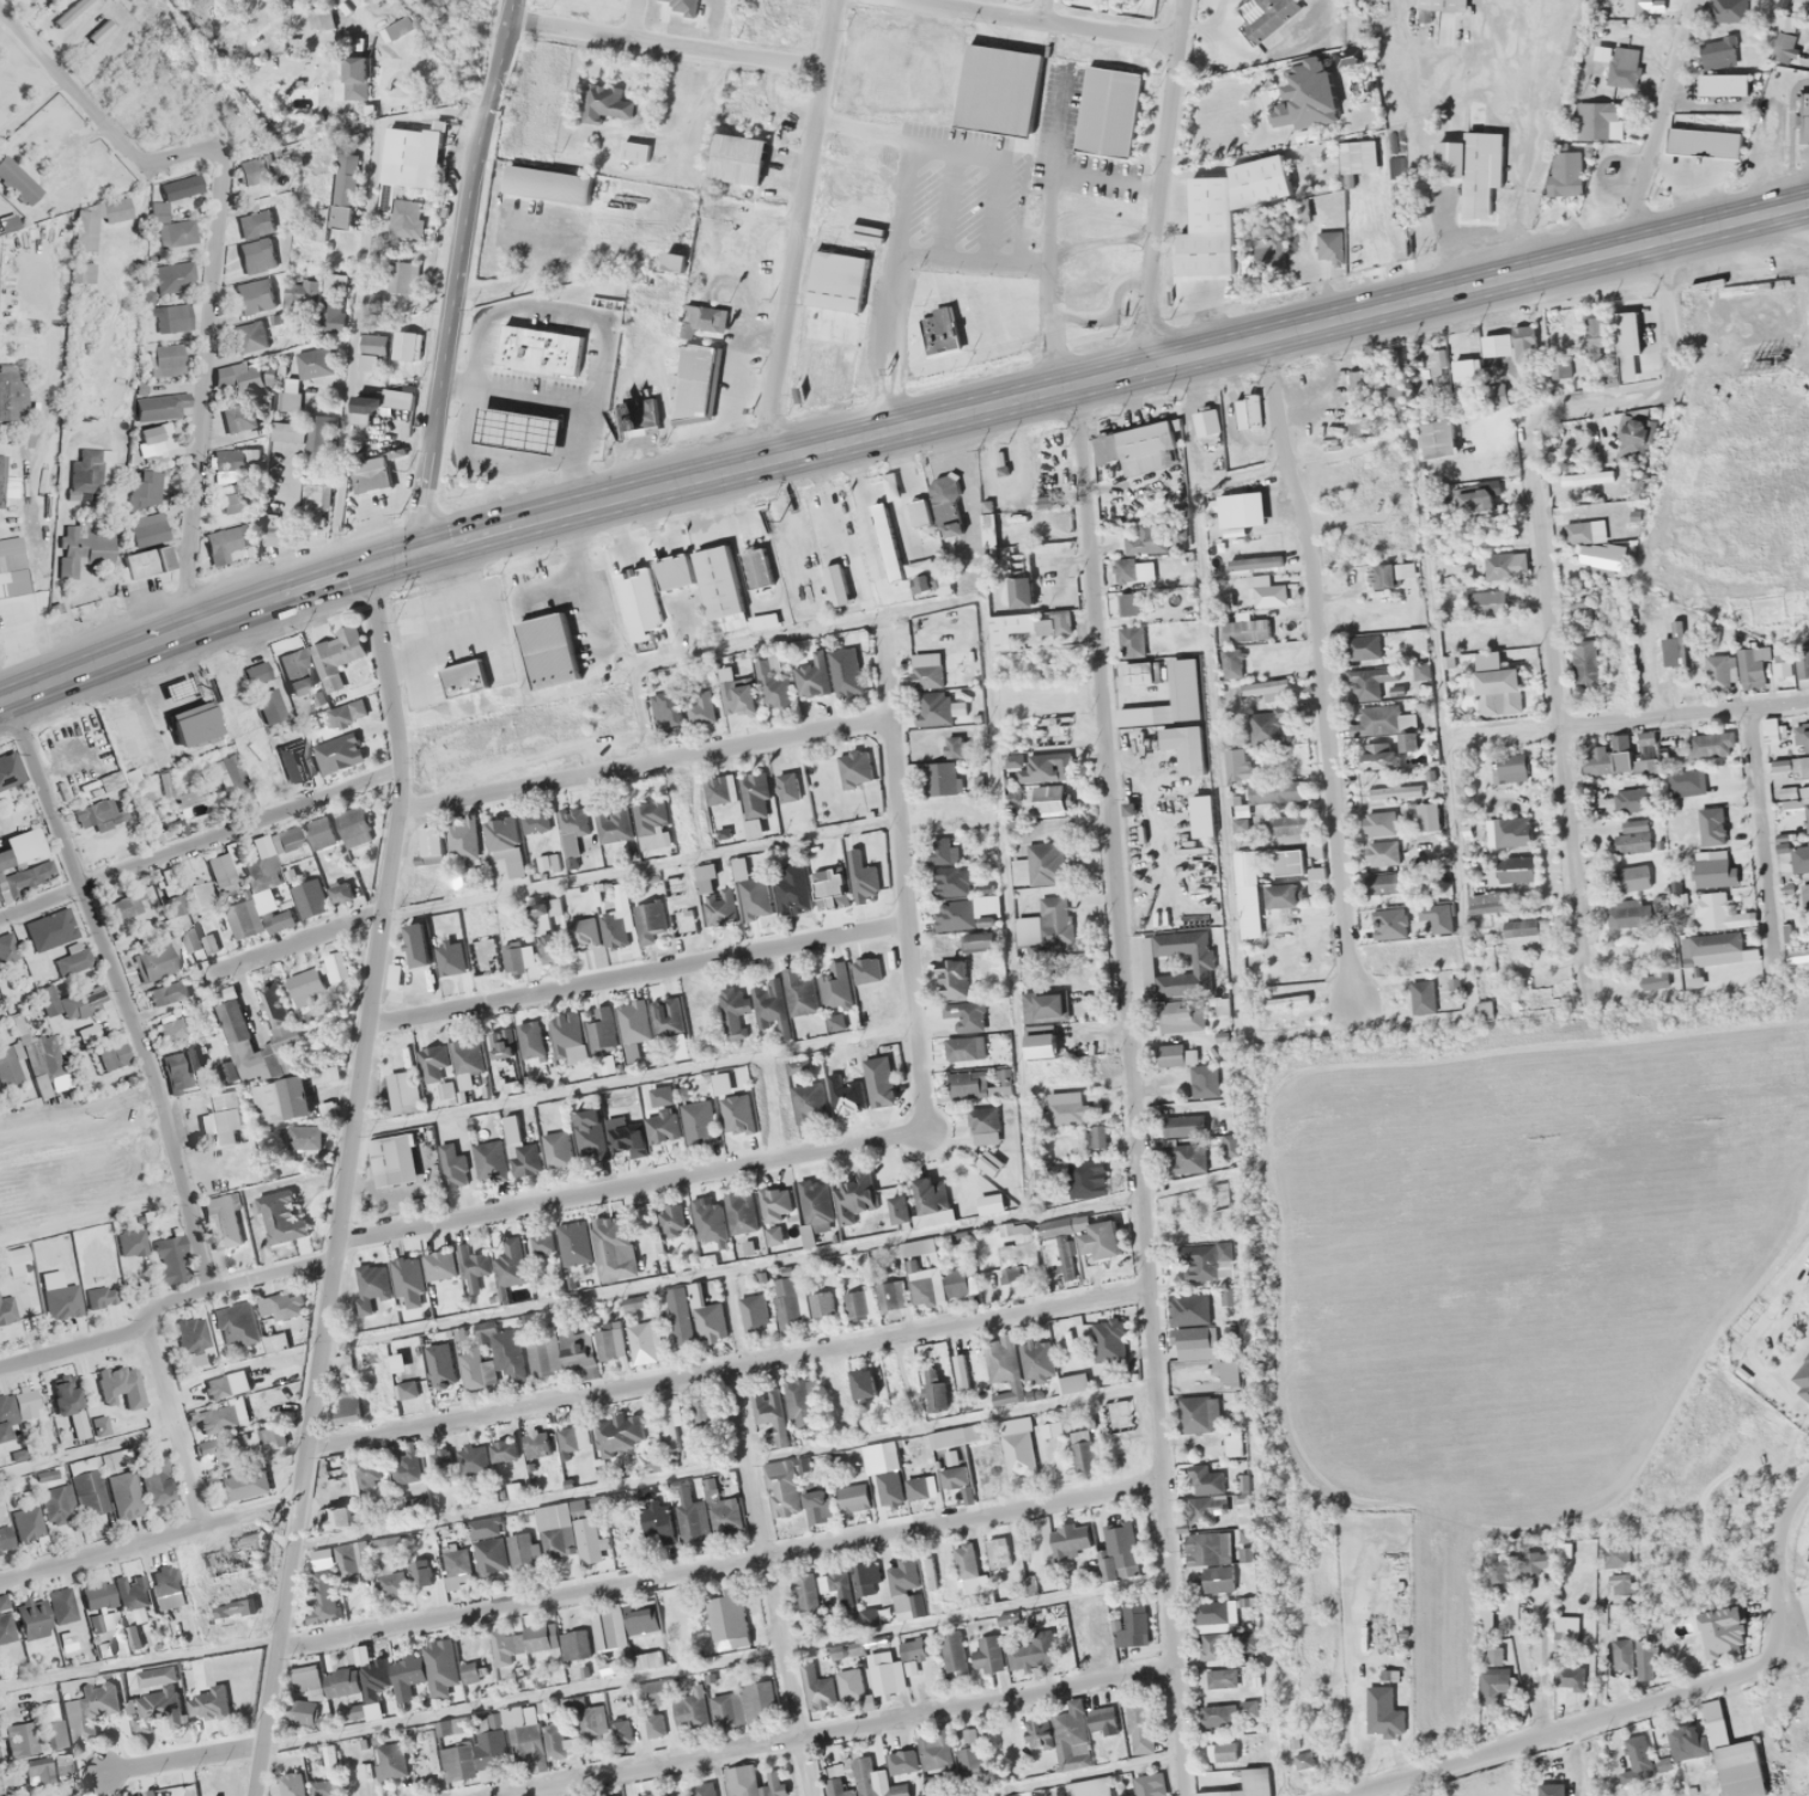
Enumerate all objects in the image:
building: (678, 5)
building: (1440, 5)
road: (1042, 10)
building: (1253, 10)
building: (1726, 11)
building: (319, 16)
road: (635, 18)
road: (1050, 20)
road: (665, 42)
building: (1601, 53)
building: (1722, 84)
building: (340, 90)
building: (998, 90)
building: (604, 104)
building: (1107, 112)
building: (1278, 114)
building: (1, 116)
building: (1597, 120)
road: (1658, 121)
building: (736, 158)
building: (1566, 165)
building: (254, 169)
building: (1472, 169)
building: (546, 184)
road: (1163, 185)
building: (178, 187)
building: (341, 191)
building: (1297, 209)
building: (1211, 215)
building: (93, 220)
building: (255, 224)
building: (175, 232)
road: (799, 232)
building: (1328, 244)
road: (215, 246)
building: (254, 249)
building: (81, 272)
building: (171, 276)
building: (402, 276)
road: (464, 276)
building: (836, 280)
building: (254, 296)
building: (373, 300)
building: (170, 317)
building: (936, 330)
building: (1613, 342)
building: (373, 345)
building: (406, 345)
road: (355, 352)
building: (313, 363)
building: (1389, 377)
building: (220, 378)
building: (694, 382)
building: (287, 398)
building: (160, 406)
building: (366, 408)
building: (1245, 412)
building: (238, 416)
building: (641, 416)
building: (1204, 421)
building: (517, 430)
road: (897, 430)
building: (288, 431)
building: (147, 434)
building: (1138, 448)
building: (1634, 458)
building: (229, 465)
building: (370, 474)
building: (89, 475)
building: (1637, 488)
building: (1468, 498)
building: (233, 501)
building: (145, 507)
building: (1239, 511)
building: (918, 512)
building: (1583, 531)
road: (1537, 532)
building: (1146, 538)
building: (885, 541)
building: (71, 548)
traffic signals: (422, 554)
building: (145, 561)
building: (1254, 562)
building: (1504, 565)
building: (11, 567)
building: (756, 567)
traffic signals: (368, 568)
building: (1123, 568)
building: (671, 572)
building: (1385, 574)
building: (1256, 580)
building: (835, 584)
building: (718, 585)
building: (636, 603)
building: (1132, 603)
building: (1485, 603)
building: (1022, 625)
building: (1241, 629)
building: (1129, 641)
building: (1359, 646)
building: (547, 651)
building: (1801, 660)
building: (1780, 662)
building: (317, 663)
building: (1230, 663)
building: (1584, 663)
building: (761, 668)
building: (1682, 668)
building: (1752, 668)
road: (1320, 669)
building: (925, 670)
building: (843, 671)
building: (1135, 672)
building: (1717, 672)
building: (461, 678)
building: (1183, 682)
building: (1369, 682)
building: (1265, 689)
building: (176, 690)
building: (264, 692)
building: (1497, 692)
building: (736, 695)
building: (699, 707)
building: (930, 708)
road: (1683, 712)
building: (1381, 720)
building: (194, 723)
building: (1265, 727)
building: (1050, 730)
building: (1770, 730)
building: (120, 733)
building: (1407, 742)
building: (1710, 744)
building: (952, 747)
building: (1184, 748)
building: (337, 753)
building: (1377, 755)
building: (1608, 757)
building: (296, 760)
road: (645, 760)
building: (1779, 765)
building: (1232, 766)
building: (1801, 766)
building: (1507, 767)
building: (10, 771)
building: (853, 772)
road: (1108, 774)
building: (1022, 775)
building: (940, 778)
building: (1686, 783)
building: (786, 786)
building: (66, 787)
building: (1804, 791)
building: (1395, 792)
building: (1785, 792)
road: (43, 793)
building: (1274, 793)
building: (753, 796)
building: (1048, 799)
building: (1628, 799)
building: (100, 804)
building: (717, 805)
building: (1200, 816)
building: (1427, 816)
building: (1805, 816)
building: (650, 823)
building: (1378, 823)
road: (1760, 824)
building: (352, 827)
building: (1290, 828)
building: (500, 832)
building: (574, 832)
building: (1506, 832)
building: (1631, 838)
road: (199, 842)
building: (430, 845)
building: (940, 850)
building: (1711, 851)
building: (1382, 853)
building: (1798, 857)
building: (23, 863)
building: (1287, 863)
building: (1044, 864)
building: (1244, 867)
building: (1515, 867)
building: (223, 870)
building: (290, 870)
building: (1019, 872)
building: (1315, 872)
road: (900, 873)
building: (859, 875)
building: (1627, 878)
building: (950, 882)
building: (1382, 883)
building: (791, 889)
building: (750, 891)
building: (1803, 894)
building: (199, 896)
building: (1280, 896)
building: (713, 899)
building: (173, 903)
building: (1486, 905)
building: (122, 907)
building: (1719, 911)
building: (1626, 912)
building: (954, 914)
building: (1435, 914)
building: (625, 915)
building: (542, 917)
building: (243, 919)
building: (1054, 920)
building: (50, 930)
building: (1525, 930)
building: (583, 932)
building: (190, 939)
building: (977, 942)
road: (297, 943)
building: (415, 944)
building: (944, 944)
building: (6, 946)
building: (1714, 948)
building: (511, 957)
building: (71, 961)
building: (154, 962)
building: (1418, 962)
building: (334, 967)
building: (866, 969)
road: (634, 973)
building: (951, 978)
building: (1180, 980)
building: (835, 984)
building: (799, 991)
building: (169, 997)
building: (72, 1002)
building: (769, 1004)
building: (1042, 1005)
building: (732, 1010)
building: (1484, 1010)
building: (695, 1012)
building: (666, 1016)
building: (633, 1021)
building: (176, 1027)
building: (602, 1028)
building: (963, 1031)
building: (232, 1034)
building: (568, 1036)
building: (529, 1039)
building: (1040, 1041)
building: (500, 1045)
building: (1169, 1055)
building: (465, 1057)
building: (99, 1059)
building: (433, 1063)
building: (10, 1065)
building: (1202, 1080)
building: (878, 1082)
building: (721, 1083)
building: (979, 1083)
road: (153, 1084)
building: (403, 1091)
building: (279, 1101)
building: (808, 1102)
building: (737, 1114)
building: (223, 1116)
building: (660, 1118)
road: (80, 1120)
building: (698, 1122)
building: (983, 1125)
building: (1181, 1126)
building: (511, 1128)
building: (590, 1133)
building: (625, 1136)
building: (304, 1137)
building: (1095, 1137)
building: (556, 1149)
building: (1182, 1158)
building: (392, 1159)
building: (524, 1159)
building: (488, 1161)
building: (988, 1162)
building: (452, 1163)
building: (1085, 1177)
road: (342, 1182)
road: (631, 1185)
building: (858, 1192)
building: (930, 1194)
building: (989, 1203)
building: (774, 1204)
building: (816, 1205)
building: (899, 1209)
building: (741, 1212)
building: (280, 1216)
building: (669, 1219)
building: (708, 1219)
building: (1055, 1226)
building: (1023, 1232)
building: (774, 1238)
building: (1098, 1240)
building: (130, 1242)
building: (574, 1242)
building: (613, 1248)
building: (543, 1250)
building: (14, 1254)
building: (170, 1259)
building: (511, 1259)
building: (1205, 1262)
building: (438, 1264)
building: (473, 1270)
building: (406, 1283)
building: (370, 1287)
building: (926, 1287)
building: (99, 1296)
building: (443, 1297)
building: (61, 1301)
building: (799, 1301)
building: (632, 1302)
road: (159, 1303)
building: (858, 1303)
building: (286, 1304)
building: (6, 1310)
building: (753, 1311)
building: (694, 1319)
road: (1151, 1320)
building: (1189, 1322)
building: (236, 1323)
building: (191, 1339)
building: (1108, 1340)
building: (645, 1341)
building: (608, 1343)
building: (542, 1351)
building: (492, 1357)
building: (1000, 1359)
building: (1037, 1360)
building: (438, 1362)
building: (268, 1365)
road: (725, 1366)
building: (1802, 1376)
building: (863, 1382)
building: (1073, 1383)
building: (121, 1386)
building: (934, 1388)
building: (409, 1398)
building: (799, 1402)
building: (68, 1404)
building: (347, 1405)
building: (16, 1411)
building: (770, 1413)
building: (1198, 1413)
building: (217, 1419)
road: (173, 1424)
building: (669, 1425)
building: (619, 1433)
building: (534, 1444)
building: (1230, 1445)
building: (209, 1448)
building: (1018, 1454)
building: (890, 1455)
building: (439, 1459)
building: (114, 1460)
building: (469, 1462)
building: (506, 1462)
building: (401, 1463)
building: (367, 1473)
building: (954, 1477)
building: (1205, 1478)
building: (156, 1481)
building: (243, 1485)
building: (920, 1486)
building: (87, 1487)
building: (884, 1488)
building: (782, 1491)
building: (124, 1494)
building: (852, 1498)
building: (818, 1505)
building: (57, 1506)
building: (1204, 1510)
building: (692, 1516)
building: (335, 1517)
building: (657, 1518)
building: (26, 1523)
building: (567, 1533)
building: (5, 1539)
road: (147, 1539)
building: (1071, 1540)
building: (1028, 1545)
building: (382, 1546)
building: (1808, 1552)
building: (505, 1553)
building: (349, 1559)
building: (227, 1560)
building: (999, 1560)
building: (1208, 1560)
building: (964, 1561)
road: (718, 1563)
building: (1533, 1565)
building: (456, 1567)
building: (931, 1567)
building: (421, 1573)
building: (901, 1576)
building: (866, 1577)
building: (390, 1579)
road: (772, 1581)
building: (837, 1582)
building: (166, 1585)
building: (130, 1590)
building: (1621, 1590)
building: (805, 1594)
building: (321, 1595)
building: (97, 1596)
building: (61, 1606)
building: (231, 1611)
building: (885, 1611)
building: (1212, 1613)
building: (31, 1617)
building: (727, 1618)
building: (644, 1619)
building: (1485, 1620)
building: (613, 1626)
building: (1131, 1626)
building: (5, 1627)
building: (1723, 1632)
road: (1171, 1638)
building: (538, 1639)
building: (574, 1644)
building: (1245, 1644)
building: (1216, 1646)
building: (500, 1649)
building: (913, 1649)
building: (1030, 1650)
building: (952, 1651)
building: (988, 1655)
building: (1622, 1655)
building: (1494, 1656)
building: (647, 1660)
building: (1566, 1662)
building: (607, 1668)
building: (425, 1670)
building: (885, 1672)
building: (475, 1673)
building: (305, 1678)
building: (1220, 1679)
building: (340, 1681)
building: (849, 1684)
building: (817, 1687)
building: (372, 1691)
building: (652, 1691)
road: (1649, 1700)
building: (156, 1701)
road: (987, 1701)
building: (207, 1704)
building: (742, 1705)
building: (85, 1709)
building: (1384, 1709)
building: (301, 1712)
building: (593, 1712)
building: (692, 1715)
building: (1711, 1716)
building: (1217, 1717)
building: (1102, 1721)
building: (1141, 1722)
building: (457, 1724)
building: (621, 1730)
building: (1038, 1731)
building: (54, 1733)
building: (520, 1739)
building: (19, 1740)
building: (1225, 1751)
building: (288, 1758)
building: (1302, 1759)
road: (185, 1760)
building: (390, 1760)
building: (327, 1761)
building: (902, 1761)
building: (61, 1765)
road: (647, 1766)
building: (1736, 1767)
building: (36, 1770)
building: (363, 1771)
building: (864, 1782)
building: (775, 1783)
building: (324, 1788)
building: (702, 1789)
building: (1549, 1790)
building: (146, 1795)

